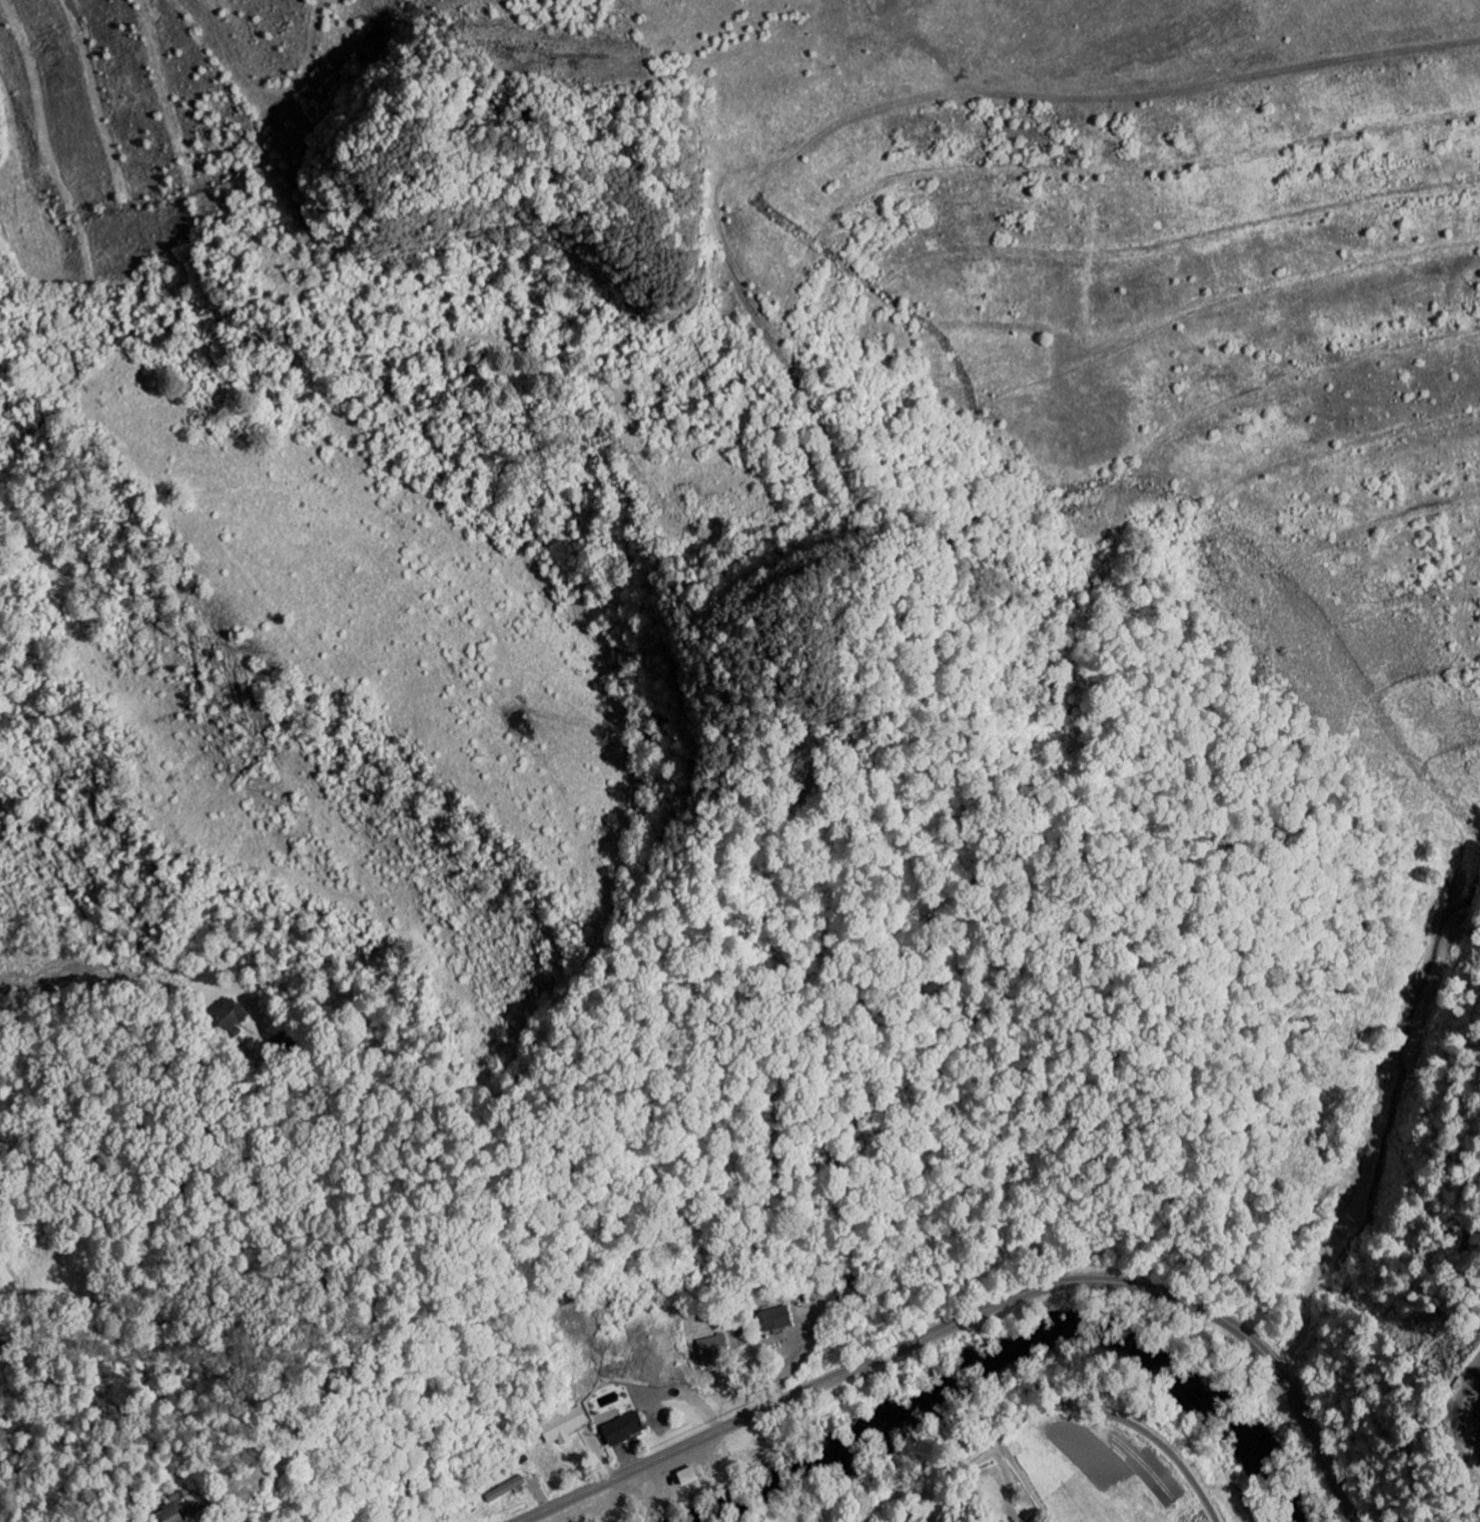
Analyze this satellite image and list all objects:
quarry: (899, 355)
building: (233, 1015)
road: (979, 1313)
building: (777, 1319)
building: (710, 1348)
road: (1050, 1408)
building: (565, 1426)
building: (625, 1429)
building: (689, 1476)
building: (170, 1515)

